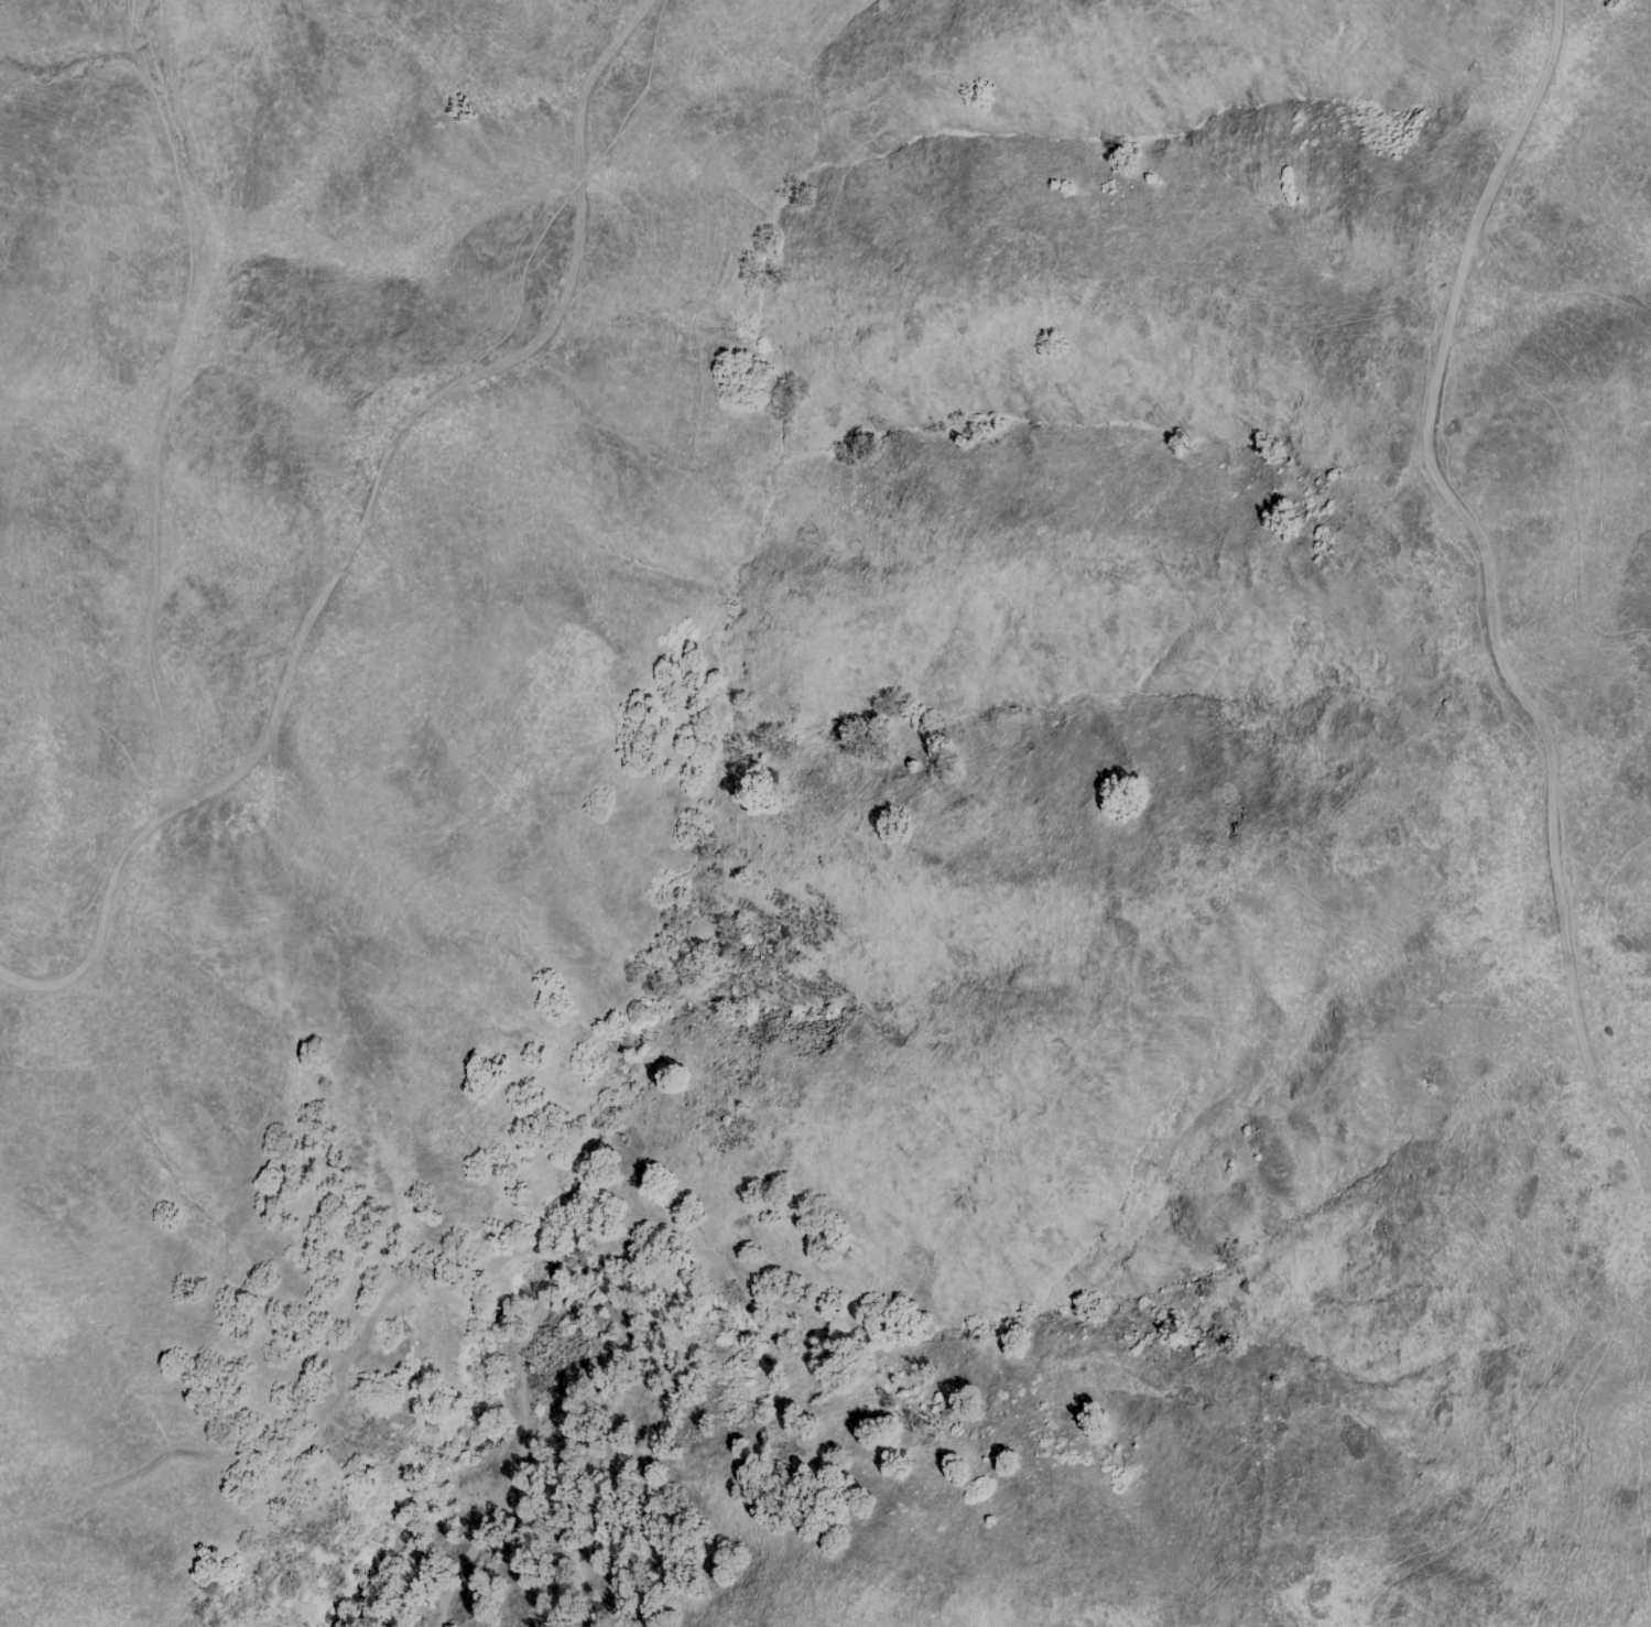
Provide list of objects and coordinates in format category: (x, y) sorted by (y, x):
road: (361, 519)
road: (1480, 590)

